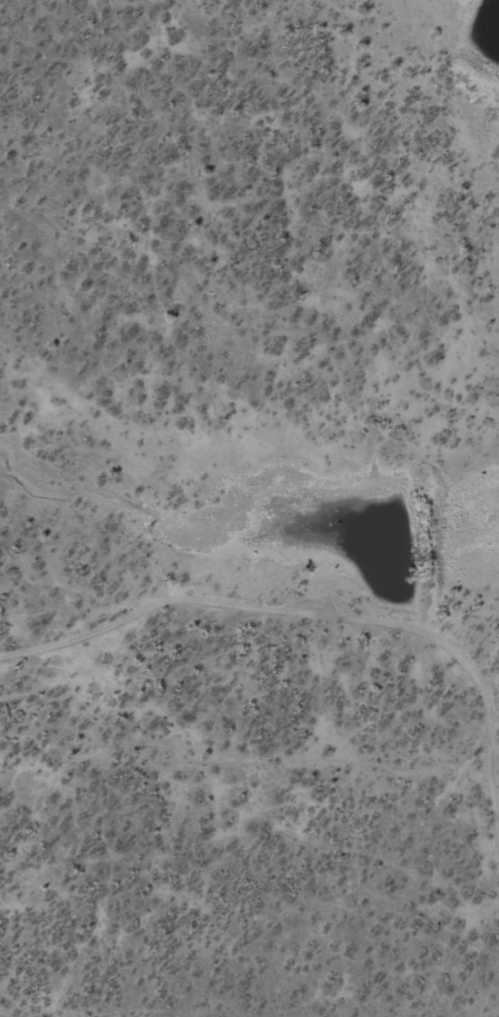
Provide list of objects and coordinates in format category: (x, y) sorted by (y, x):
road: (289, 618)

